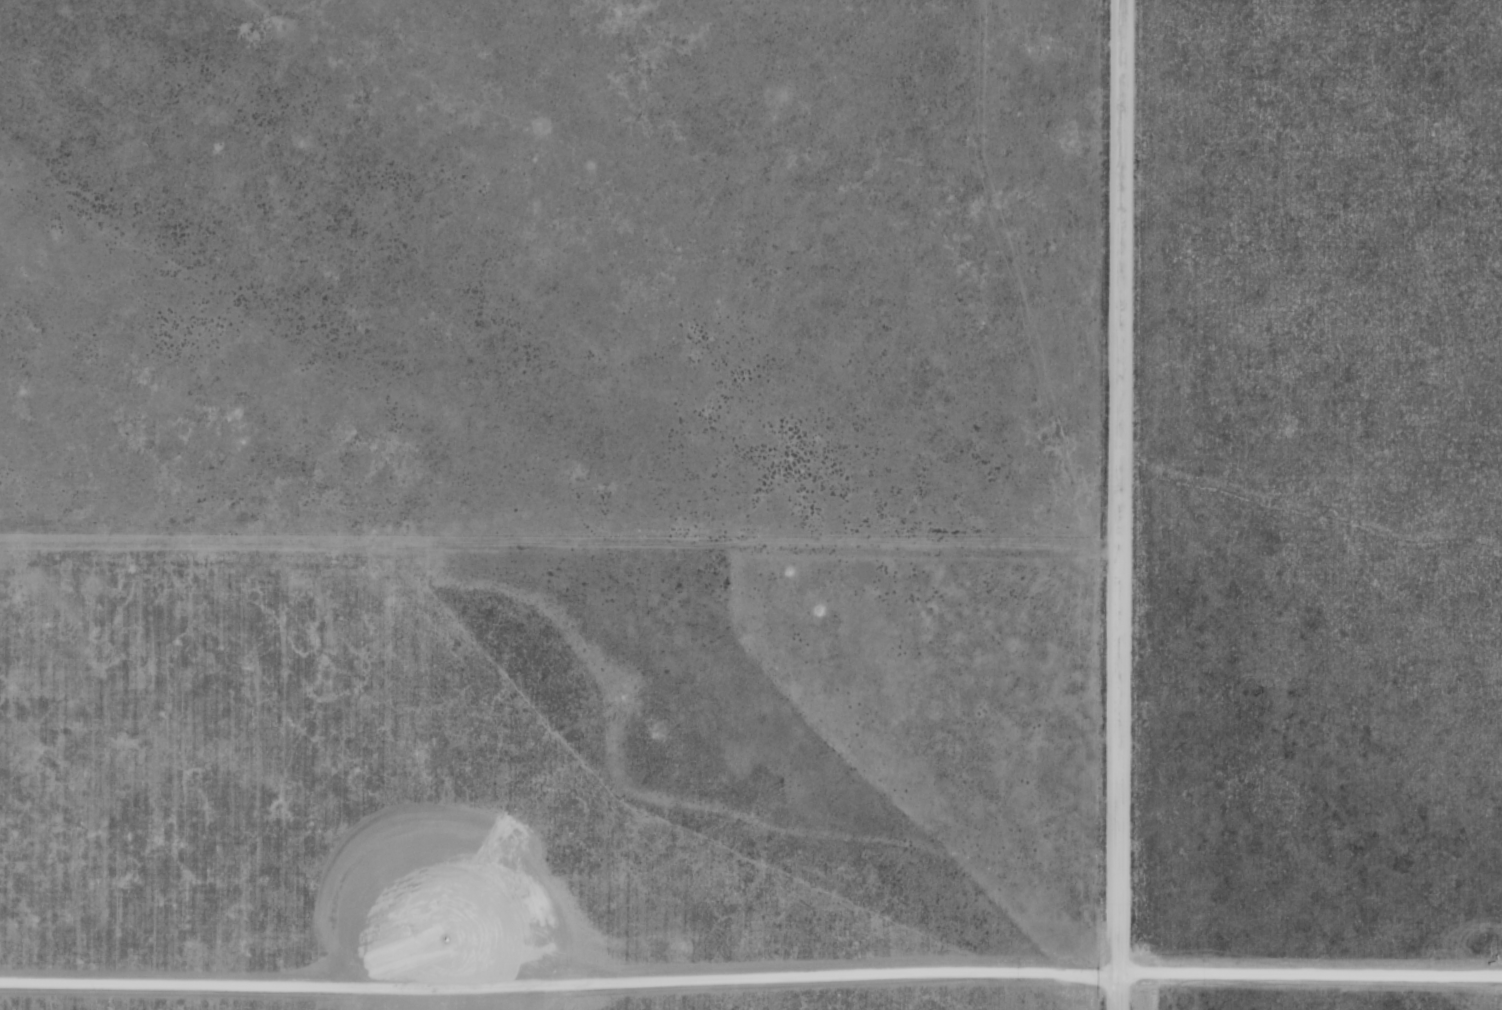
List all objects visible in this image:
road: (1130, 505)
wind turbine: (429, 949)

